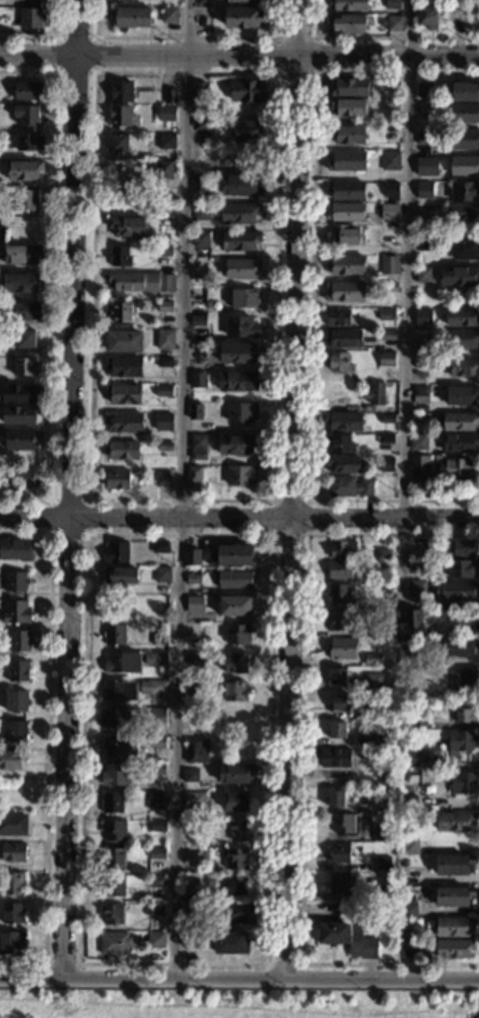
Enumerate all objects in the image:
building: (244, 1)
building: (426, 2)
building: (392, 4)
building: (348, 5)
building: (455, 13)
building: (168, 16)
building: (131, 18)
building: (242, 18)
building: (426, 18)
building: (30, 19)
building: (348, 24)
building: (394, 24)
road: (49, 37)
road: (188, 37)
road: (378, 37)
road: (239, 53)
road: (91, 72)
road: (314, 72)
building: (392, 85)
building: (350, 88)
building: (423, 91)
building: (247, 92)
building: (464, 92)
building: (28, 93)
building: (120, 93)
building: (199, 94)
building: (169, 97)
building: (391, 103)
building: (349, 108)
building: (423, 112)
building: (165, 114)
building: (464, 114)
building: (26, 116)
building: (119, 118)
building: (202, 125)
building: (245, 130)
building: (390, 133)
building: (348, 134)
building: (423, 138)
building: (465, 140)
building: (24, 142)
building: (167, 143)
building: (118, 145)
building: (390, 159)
building: (347, 161)
building: (208, 165)
building: (464, 166)
building: (426, 167)
building: (161, 170)
building: (23, 171)
building: (198, 186)
building: (241, 187)
building: (424, 189)
building: (390, 190)
building: (347, 191)
building: (463, 191)
building: (26, 201)
building: (345, 212)
building: (389, 212)
building: (424, 212)
building: (202, 213)
building: (461, 213)
building: (238, 215)
building: (166, 224)
building: (125, 227)
building: (343, 236)
building: (387, 239)
building: (201, 240)
building: (240, 241)
building: (423, 244)
building: (464, 248)
building: (164, 253)
building: (22, 256)
building: (118, 257)
building: (347, 265)
building: (389, 265)
building: (242, 269)
building: (423, 275)
building: (458, 275)
building: (141, 282)
building: (19, 283)
road: (54, 283)
building: (389, 288)
road: (310, 289)
building: (345, 292)
building: (246, 300)
road: (407, 303)
building: (207, 306)
building: (165, 308)
building: (153, 310)
building: (23, 313)
building: (121, 313)
building: (386, 316)
building: (422, 317)
building: (338, 318)
building: (461, 318)
building: (197, 322)
building: (241, 329)
building: (388, 336)
building: (343, 339)
building: (463, 339)
building: (24, 340)
building: (164, 341)
building: (123, 342)
building: (237, 355)
building: (386, 360)
building: (420, 362)
building: (338, 363)
building: (164, 364)
building: (24, 367)
building: (463, 367)
building: (124, 368)
building: (197, 381)
building: (238, 381)
building: (162, 392)
building: (18, 394)
building: (375, 394)
building: (422, 395)
building: (460, 395)
building: (124, 396)
building: (195, 413)
building: (241, 414)
building: (18, 416)
building: (387, 420)
building: (343, 422)
building: (459, 422)
building: (163, 423)
building: (123, 424)
building: (386, 440)
building: (21, 441)
building: (199, 442)
building: (460, 442)
building: (339, 443)
building: (418, 443)
building: (236, 445)
building: (165, 446)
building: (121, 451)
building: (197, 457)
building: (344, 465)
building: (386, 465)
building: (419, 470)
building: (457, 470)
building: (195, 475)
building: (242, 478)
building: (22, 479)
building: (117, 480)
building: (162, 480)
building: (350, 485)
road: (182, 489)
road: (296, 489)
road: (76, 490)
road: (86, 500)
road: (86, 500)
road: (239, 519)
road: (306, 533)
building: (159, 547)
building: (15, 550)
building: (463, 550)
building: (343, 551)
building: (116, 553)
building: (383, 554)
building: (420, 554)
building: (191, 556)
building: (232, 556)
building: (417, 566)
building: (462, 569)
building: (338, 571)
building: (163, 574)
building: (120, 576)
building: (192, 578)
building: (233, 580)
building: (389, 580)
building: (16, 582)
building: (417, 589)
building: (458, 592)
building: (338, 595)
building: (191, 604)
building: (234, 605)
building: (17, 613)
building: (340, 622)
building: (410, 628)
building: (373, 632)
building: (112, 635)
building: (238, 635)
building: (159, 640)
building: (19, 641)
building: (458, 647)
building: (342, 649)
building: (410, 654)
building: (154, 658)
building: (193, 658)
building: (371, 661)
building: (121, 662)
building: (235, 663)
building: (18, 671)
building: (337, 676)
building: (468, 680)
building: (373, 682)
building: (190, 690)
building: (119, 691)
building: (234, 691)
building: (17, 702)
building: (155, 702)
building: (339, 704)
building: (461, 713)
building: (367, 714)
building: (190, 716)
building: (234, 718)
building: (114, 719)
building: (407, 722)
building: (16, 731)
building: (335, 731)
building: (367, 740)
building: (156, 742)
building: (462, 742)
road: (48, 745)
building: (121, 745)
building: (195, 751)
road: (303, 751)
building: (335, 758)
building: (390, 758)
building: (409, 758)
building: (12, 759)
building: (155, 769)
building: (114, 774)
building: (234, 774)
building: (190, 775)
building: (463, 784)
building: (434, 788)
building: (156, 800)
building: (193, 800)
building: (237, 801)
building: (337, 801)
building: (111, 802)
building: (409, 805)
building: (455, 822)
building: (13, 825)
building: (191, 825)
building: (342, 825)
building: (157, 826)
building: (113, 830)
building: (238, 831)
building: (382, 835)
building: (409, 848)
building: (14, 853)
building: (156, 853)
building: (192, 853)
building: (339, 854)
building: (112, 857)
building: (234, 858)
building: (403, 864)
building: (383, 865)
building: (454, 865)
building: (155, 882)
building: (187, 883)
building: (338, 883)
building: (13, 884)
building: (233, 885)
building: (111, 887)
building: (383, 897)
building: (453, 897)
building: (188, 908)
building: (152, 910)
building: (408, 911)
building: (13, 913)
building: (111, 913)
building: (230, 914)
building: (453, 929)
building: (398, 935)
building: (346, 938)
building: (155, 940)
building: (190, 940)
building: (11, 943)
building: (230, 943)
building: (113, 944)
building: (409, 950)
building: (454, 950)
road: (80, 964)
road: (62, 965)
road: (283, 965)
road: (239, 978)
park: (236, 1001)

